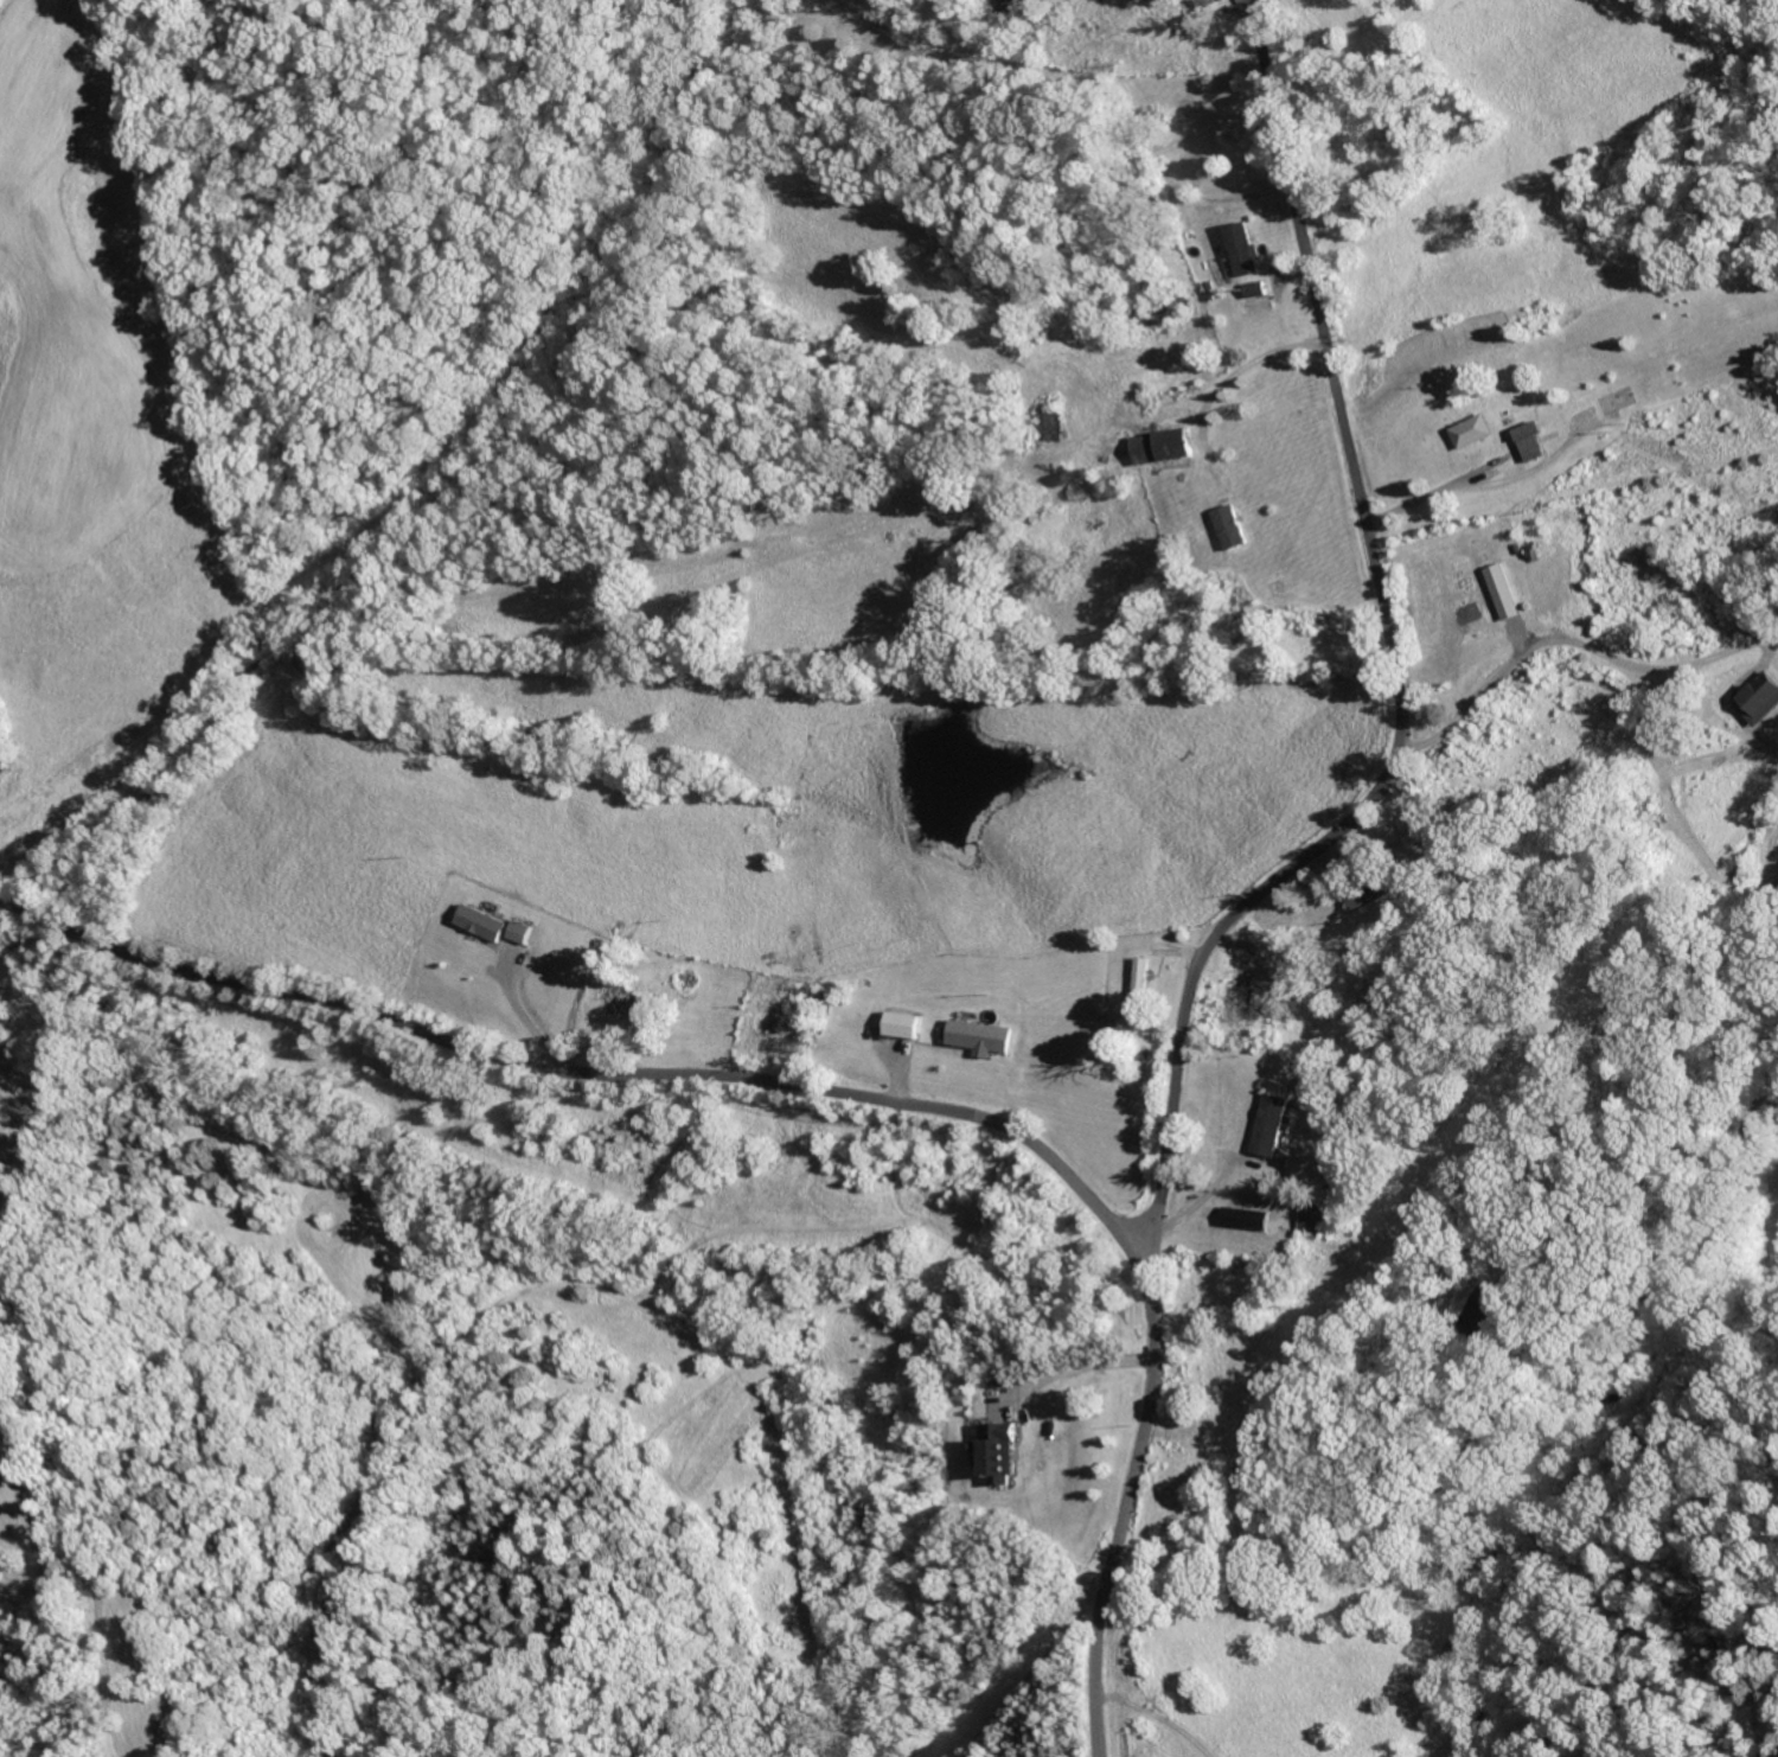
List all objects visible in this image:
building: (1245, 249)
building: (1475, 430)
building: (1534, 440)
building: (1166, 445)
road: (1486, 471)
building: (1233, 528)
building: (1507, 592)
road: (1633, 664)
road: (1396, 665)
building: (1761, 699)
building: (1374, 892)
building: (481, 921)
building: (519, 929)
building: (1140, 983)
building: (625, 998)
building: (904, 1023)
building: (981, 1035)
road: (563, 1068)
building: (1275, 1124)
building: (1248, 1216)
building: (1316, 1218)
road: (1155, 1265)
road: (1074, 1365)
road: (1149, 1416)
building: (998, 1450)
road: (1099, 1685)

